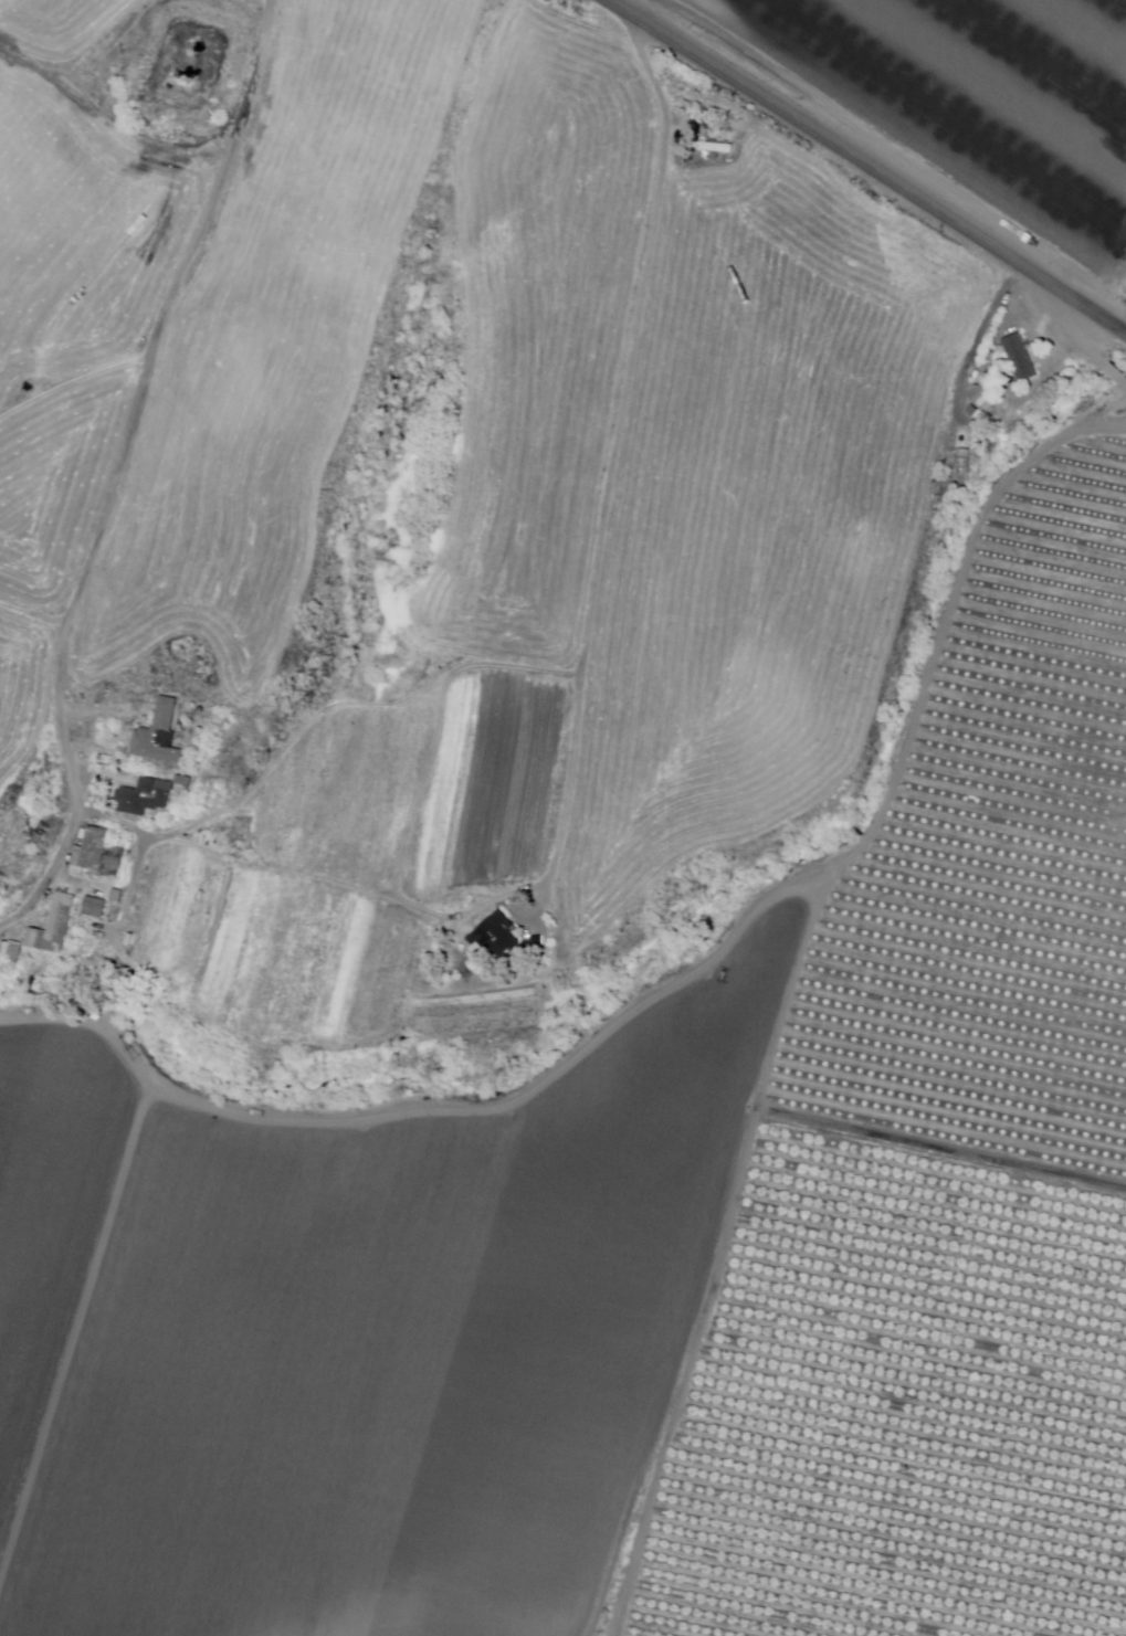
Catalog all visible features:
crop: (61, 28)
crop: (962, 104)
building: (712, 148)
road: (863, 167)
crop: (40, 205)
crop: (131, 257)
crop: (549, 324)
road: (975, 341)
crop: (273, 345)
building: (1022, 358)
road: (74, 382)
building: (981, 393)
building: (976, 411)
road: (621, 465)
road: (120, 469)
crop: (59, 484)
crop: (758, 516)
crop: (20, 699)
building: (160, 737)
building: (185, 781)
crop: (420, 796)
building: (146, 798)
building: (44, 831)
building: (99, 856)
crop: (998, 861)
building: (118, 897)
building: (96, 909)
building: (55, 927)
building: (497, 938)
building: (130, 941)
building: (536, 947)
building: (12, 953)
crop: (271, 956)
crop: (473, 1012)
road: (943, 1149)
crop: (50, 1213)
crop: (558, 1317)
crop: (221, 1384)

